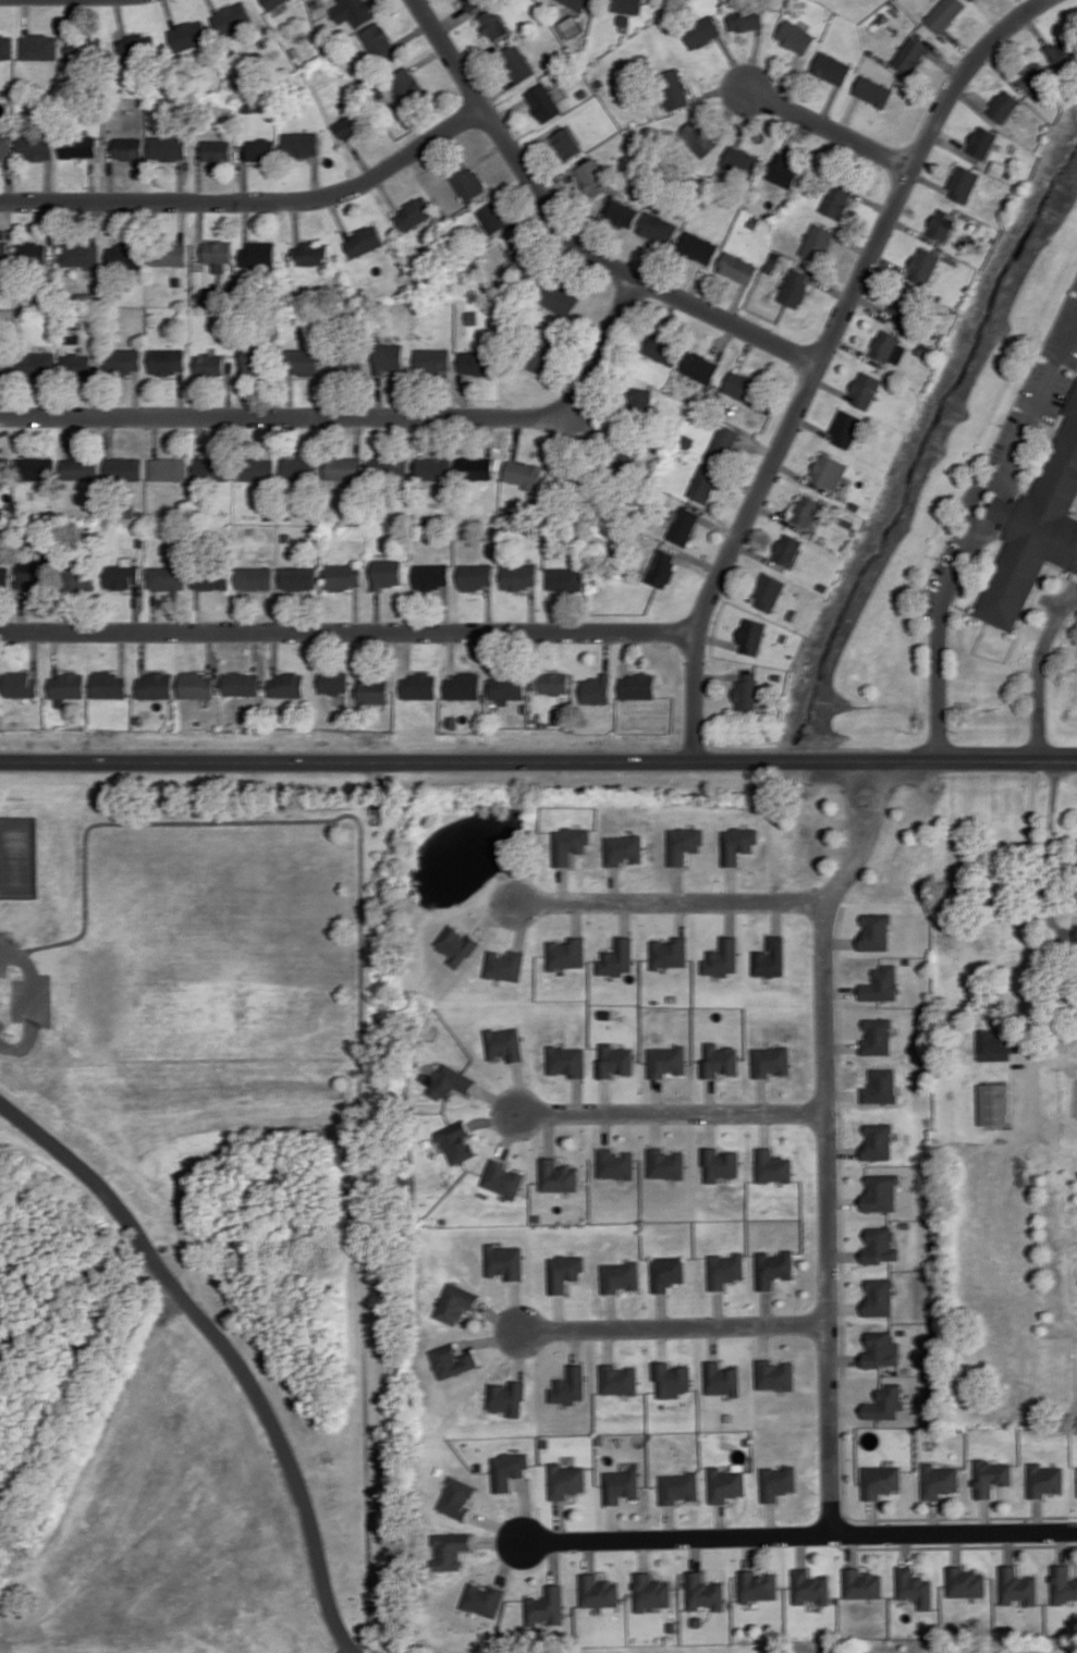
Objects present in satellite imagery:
building: (972, 0)
building: (271, 2)
building: (577, 3)
building: (474, 4)
building: (625, 5)
building: (351, 11)
building: (944, 13)
building: (231, 17)
building: (746, 20)
building: (493, 24)
building: (572, 26)
building: (702, 32)
building: (187, 35)
building: (796, 36)
building: (377, 40)
building: (136, 45)
building: (5, 46)
building: (38, 47)
building: (83, 48)
building: (1063, 52)
building: (910, 54)
building: (516, 62)
building: (831, 68)
building: (1032, 74)
building: (406, 85)
building: (675, 88)
building: (873, 90)
building: (542, 102)
building: (1004, 106)
building: (350, 125)
road: (830, 130)
building: (698, 137)
building: (982, 142)
building: (566, 143)
building: (301, 144)
building: (4, 147)
building: (77, 147)
building: (35, 148)
building: (127, 148)
building: (168, 148)
building: (261, 149)
building: (217, 150)
building: (742, 161)
building: (784, 171)
building: (592, 177)
building: (467, 182)
building: (963, 183)
building: (837, 199)
road: (254, 203)
building: (414, 213)
building: (622, 213)
building: (492, 218)
building: (942, 224)
building: (658, 228)
road: (568, 235)
building: (364, 241)
building: (817, 242)
building: (698, 247)
building: (33, 253)
building: (81, 254)
building: (310, 254)
building: (169, 255)
building: (218, 255)
building: (258, 255)
building: (4, 256)
building: (126, 256)
building: (925, 265)
building: (737, 267)
building: (795, 287)
building: (559, 298)
building: (904, 305)
parking lot: (1064, 330)
building: (889, 346)
building: (663, 348)
building: (388, 357)
building: (540, 357)
road: (821, 358)
building: (252, 359)
building: (431, 359)
building: (123, 360)
building: (168, 360)
building: (303, 360)
building: (36, 363)
building: (476, 363)
building: (77, 364)
building: (209, 364)
building: (1, 365)
building: (346, 365)
building: (700, 367)
building: (742, 387)
building: (866, 390)
parking lot: (1056, 396)
building: (640, 397)
parking lot: (1015, 413)
road: (358, 418)
street lamp: (1001, 423)
building: (846, 428)
river: (925, 438)
building: (723, 442)
building: (298, 467)
building: (4, 468)
building: (34, 468)
building: (123, 468)
building: (168, 468)
building: (256, 468)
building: (343, 468)
building: (390, 468)
building: (433, 468)
building: (475, 468)
building: (79, 469)
building: (211, 469)
street lamp: (781, 472)
building: (830, 472)
building: (524, 474)
road: (803, 476)
building: (705, 482)
building: (807, 510)
road: (781, 516)
building: (683, 525)
building: (1037, 525)
road: (978, 526)
building: (788, 549)
road: (758, 554)
building: (662, 567)
building: (388, 573)
parking lot: (941, 573)
building: (122, 575)
building: (343, 575)
building: (431, 575)
building: (475, 576)
building: (518, 576)
building: (32, 577)
building: (167, 577)
building: (255, 577)
building: (4, 578)
building: (81, 578)
building: (299, 578)
building: (564, 578)
road: (735, 587)
building: (769, 591)
road: (348, 633)
building: (752, 635)
road: (1040, 670)
road: (718, 675)
building: (334, 682)
building: (242, 683)
building: (554, 683)
building: (21, 684)
building: (109, 685)
building: (197, 685)
building: (287, 685)
building: (66, 686)
building: (156, 686)
building: (419, 686)
building: (463, 686)
building: (637, 686)
building: (506, 688)
building: (597, 689)
building: (374, 690)
building: (747, 691)
building: (525, 707)
building: (453, 720)
building: (342, 723)
road: (538, 760)
road: (853, 800)
road: (881, 803)
road: (1051, 840)
building: (570, 842)
building: (684, 842)
building: (739, 842)
building: (624, 848)
park: (17, 856)
road: (678, 883)
road: (563, 884)
road: (615, 884)
road: (733, 884)
road: (670, 901)
road: (493, 913)
road: (779, 914)
road: (577, 916)
road: (625, 916)
road: (681, 916)
road: (730, 916)
road: (522, 922)
building: (876, 930)
building: (1076, 934)
road: (1030, 935)
parking lot: (8, 940)
road: (839, 941)
building: (456, 944)
building: (565, 952)
building: (670, 952)
building: (723, 956)
building: (617, 957)
building: (771, 957)
building: (504, 964)
parking lot: (3, 969)
building: (881, 982)
road: (840, 991)
parking lot: (17, 999)
parking lot: (46, 999)
road: (32, 1002)
road: (362, 1011)
building: (605, 1013)
parking lot: (2, 1025)
building: (877, 1034)
building: (505, 1042)
building: (999, 1043)
road: (841, 1046)
building: (614, 1058)
building: (720, 1058)
building: (566, 1060)
building: (668, 1060)
building: (771, 1060)
building: (449, 1081)
building: (880, 1085)
road: (522, 1086)
road: (578, 1093)
road: (658, 1093)
road: (710, 1093)
road: (761, 1093)
road: (605, 1094)
road: (842, 1094)
road: (497, 1098)
building: (993, 1103)
road: (672, 1110)
road: (495, 1119)
road: (608, 1127)
road: (657, 1127)
road: (710, 1127)
road: (764, 1127)
road: (509, 1132)
road: (550, 1132)
building: (877, 1139)
building: (456, 1140)
road: (842, 1151)
building: (616, 1162)
building: (665, 1162)
building: (719, 1162)
building: (772, 1165)
building: (559, 1174)
building: (503, 1177)
road: (827, 1179)
building: (880, 1191)
road: (842, 1201)
building: (905, 1224)
park: (217, 1235)
building: (879, 1244)
road: (844, 1254)
building: (504, 1259)
building: (773, 1266)
building: (724, 1269)
building: (564, 1270)
building: (668, 1271)
building: (621, 1274)
building: (878, 1295)
building: (456, 1301)
road: (517, 1305)
road: (767, 1307)
road: (844, 1307)
road: (719, 1308)
road: (662, 1309)
road: (612, 1310)
road: (559, 1311)
road: (498, 1317)
road: (843, 1324)
road: (673, 1325)
road: (490, 1338)
road: (764, 1340)
road: (713, 1342)
road: (661, 1343)
road: (609, 1344)
road: (576, 1345)
road: (225, 1346)
building: (881, 1348)
road: (521, 1354)
building: (452, 1359)
road: (844, 1359)
building: (775, 1373)
building: (619, 1377)
building: (671, 1377)
building: (722, 1377)
building: (568, 1384)
building: (506, 1395)
building: (886, 1401)
road: (845, 1409)
building: (509, 1468)
building: (991, 1474)
building: (1044, 1478)
building: (565, 1479)
building: (881, 1479)
building: (940, 1479)
building: (778, 1480)
building: (724, 1482)
building: (621, 1483)
building: (678, 1485)
building: (458, 1495)
road: (526, 1509)
road: (984, 1514)
road: (1037, 1514)
road: (872, 1515)
road: (933, 1515)
road: (770, 1517)
road: (560, 1519)
road: (719, 1519)
road: (614, 1520)
road: (669, 1520)
road: (498, 1525)
road: (799, 1532)
road: (499, 1539)
road: (956, 1544)
road: (1008, 1545)
road: (1061, 1545)
road: (956, 1546)
building: (451, 1547)
road: (905, 1547)
road: (799, 1548)
road: (850, 1548)
road: (746, 1551)
road: (644, 1552)
road: (694, 1552)
road: (589, 1554)
road: (509, 1559)
road: (554, 1559)
road: (1075, 1562)
road: (602, 1568)
road: (657, 1568)
building: (965, 1581)
building: (860, 1582)
building: (1063, 1583)
building: (756, 1584)
building: (808, 1584)
building: (1018, 1584)
building: (914, 1585)
building: (598, 1590)
building: (650, 1590)
building: (702, 1591)
building: (484, 1597)
building: (546, 1604)
building: (697, 1620)
building: (672, 1626)
building: (376, 1645)
road: (350, 1651)

